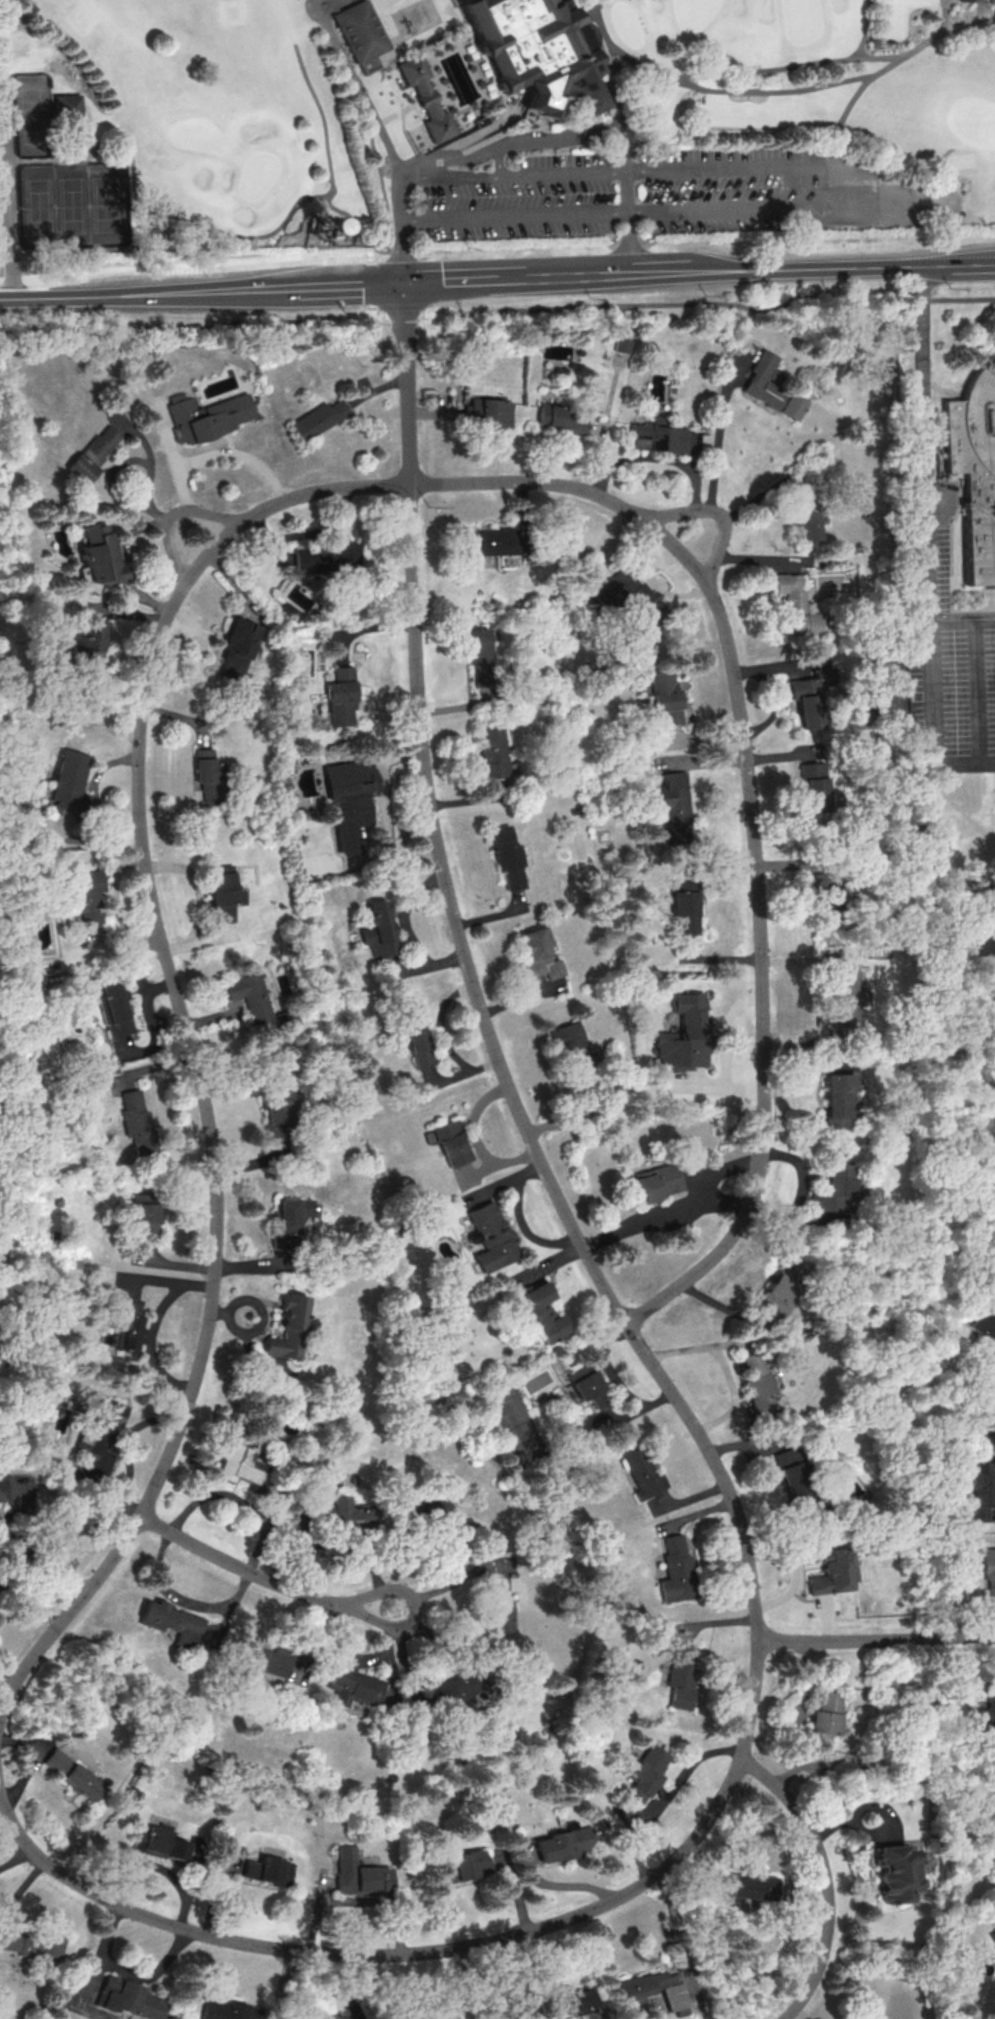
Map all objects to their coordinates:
road: (946, 14)
road: (463, 16)
road: (867, 28)
building: (363, 29)
building: (540, 49)
park: (371, 63)
road: (790, 64)
road: (393, 72)
road: (876, 72)
road: (361, 86)
road: (709, 88)
road: (595, 94)
building: (428, 96)
building: (72, 105)
park: (35, 115)
road: (67, 120)
park: (486, 120)
road: (485, 130)
road: (818, 137)
road: (603, 140)
road: (51, 160)
road: (438, 163)
road: (499, 163)
road: (750, 167)
road: (452, 179)
park: (73, 204)
road: (626, 204)
road: (876, 204)
road: (386, 207)
road: (11, 211)
road: (513, 218)
water tower: (317, 220)
road: (270, 230)
road: (323, 258)
road: (189, 262)
road: (813, 269)
road: (517, 277)
traffic signals: (402, 281)
road: (370, 284)
road: (276, 285)
road: (75, 295)
road: (371, 312)
road: (446, 313)
road: (402, 315)
road: (339, 317)
building: (622, 344)
building: (764, 381)
building: (792, 405)
building: (489, 411)
building: (207, 415)
building: (316, 418)
building: (560, 418)
building: (657, 437)
road: (719, 447)
building: (93, 452)
road: (224, 453)
road: (656, 457)
building: (974, 470)
road: (151, 504)
road: (201, 510)
road: (715, 512)
building: (807, 524)
building: (491, 542)
building: (97, 554)
building: (325, 557)
building: (629, 596)
building: (795, 606)
road: (988, 620)
road: (929, 639)
building: (86, 643)
building: (235, 650)
building: (479, 656)
building: (665, 694)
building: (340, 697)
building: (492, 752)
road: (990, 762)
building: (205, 774)
building: (68, 780)
building: (815, 784)
building: (348, 800)
building: (673, 806)
building: (19, 808)
road: (754, 813)
road: (435, 820)
road: (928, 844)
building: (507, 857)
building: (316, 865)
building: (223, 892)
building: (85, 896)
building: (825, 904)
building: (687, 910)
building: (380, 929)
building: (986, 935)
building: (539, 953)
building: (846, 998)
road: (817, 1002)
building: (258, 1003)
building: (115, 1010)
building: (988, 1012)
building: (684, 1035)
road: (442, 1037)
building: (417, 1041)
road: (190, 1046)
building: (571, 1046)
road: (726, 1050)
building: (837, 1098)
building: (277, 1114)
building: (137, 1121)
road: (475, 1138)
building: (452, 1143)
road: (722, 1168)
building: (652, 1183)
road: (799, 1188)
building: (835, 1189)
road: (665, 1211)
road: (520, 1217)
building: (146, 1218)
building: (289, 1222)
building: (492, 1236)
building: (782, 1288)
building: (542, 1311)
building: (984, 1321)
building: (124, 1324)
building: (289, 1327)
road: (698, 1346)
building: (758, 1383)
building: (587, 1384)
road: (734, 1394)
building: (985, 1410)
building: (100, 1436)
building: (642, 1472)
building: (790, 1475)
building: (981, 1493)
building: (438, 1508)
building: (340, 1512)
road: (339, 1546)
road: (30, 1550)
building: (676, 1570)
road: (435, 1571)
building: (833, 1571)
building: (989, 1571)
road: (259, 1575)
road: (448, 1581)
road: (183, 1598)
building: (499, 1605)
road: (719, 1620)
building: (172, 1622)
road: (876, 1641)
building: (262, 1665)
building: (681, 1675)
building: (458, 1685)
building: (352, 1686)
building: (994, 1686)
road: (3, 1704)
building: (987, 1715)
building: (824, 1719)
road: (743, 1746)
building: (645, 1772)
building: (73, 1774)
building: (158, 1842)
building: (562, 1844)
road: (16, 1858)
building: (463, 1865)
building: (268, 1870)
building: (894, 1872)
building: (358, 1873)
road: (827, 1877)
road: (561, 1885)
building: (751, 1886)
road: (157, 1920)
building: (992, 1935)
building: (30, 1944)
road: (98, 1952)
road: (148, 1971)
road: (467, 1983)
building: (652, 1991)
building: (129, 1998)
building: (566, 2002)
building: (856, 2018)

